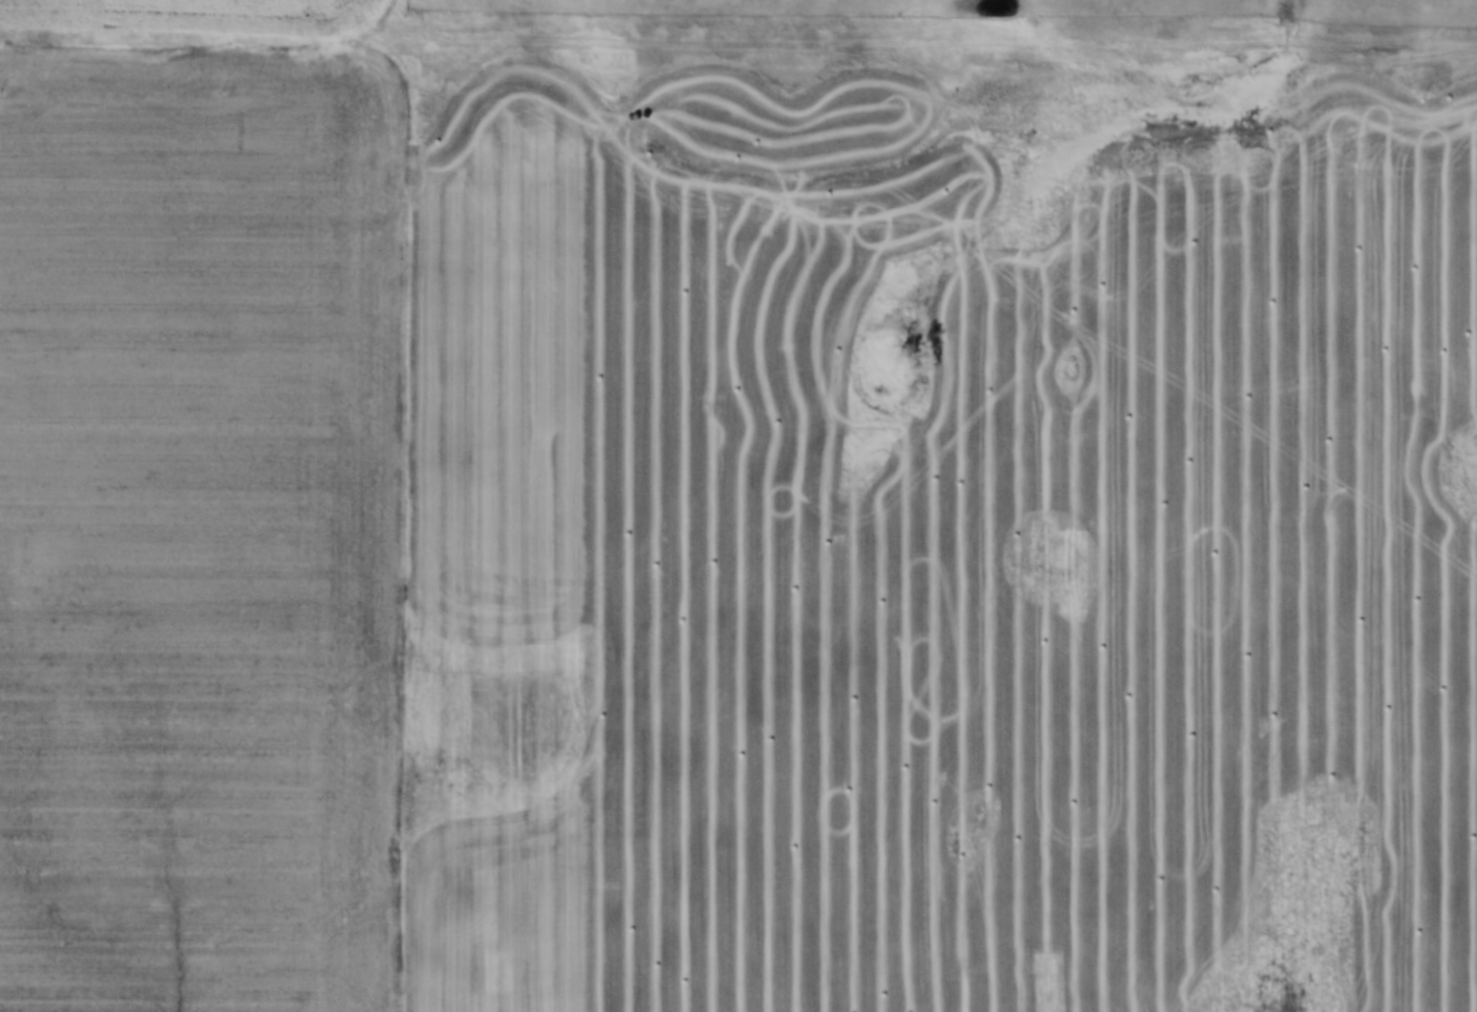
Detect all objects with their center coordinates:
road: (735, 52)
road: (422, 505)

